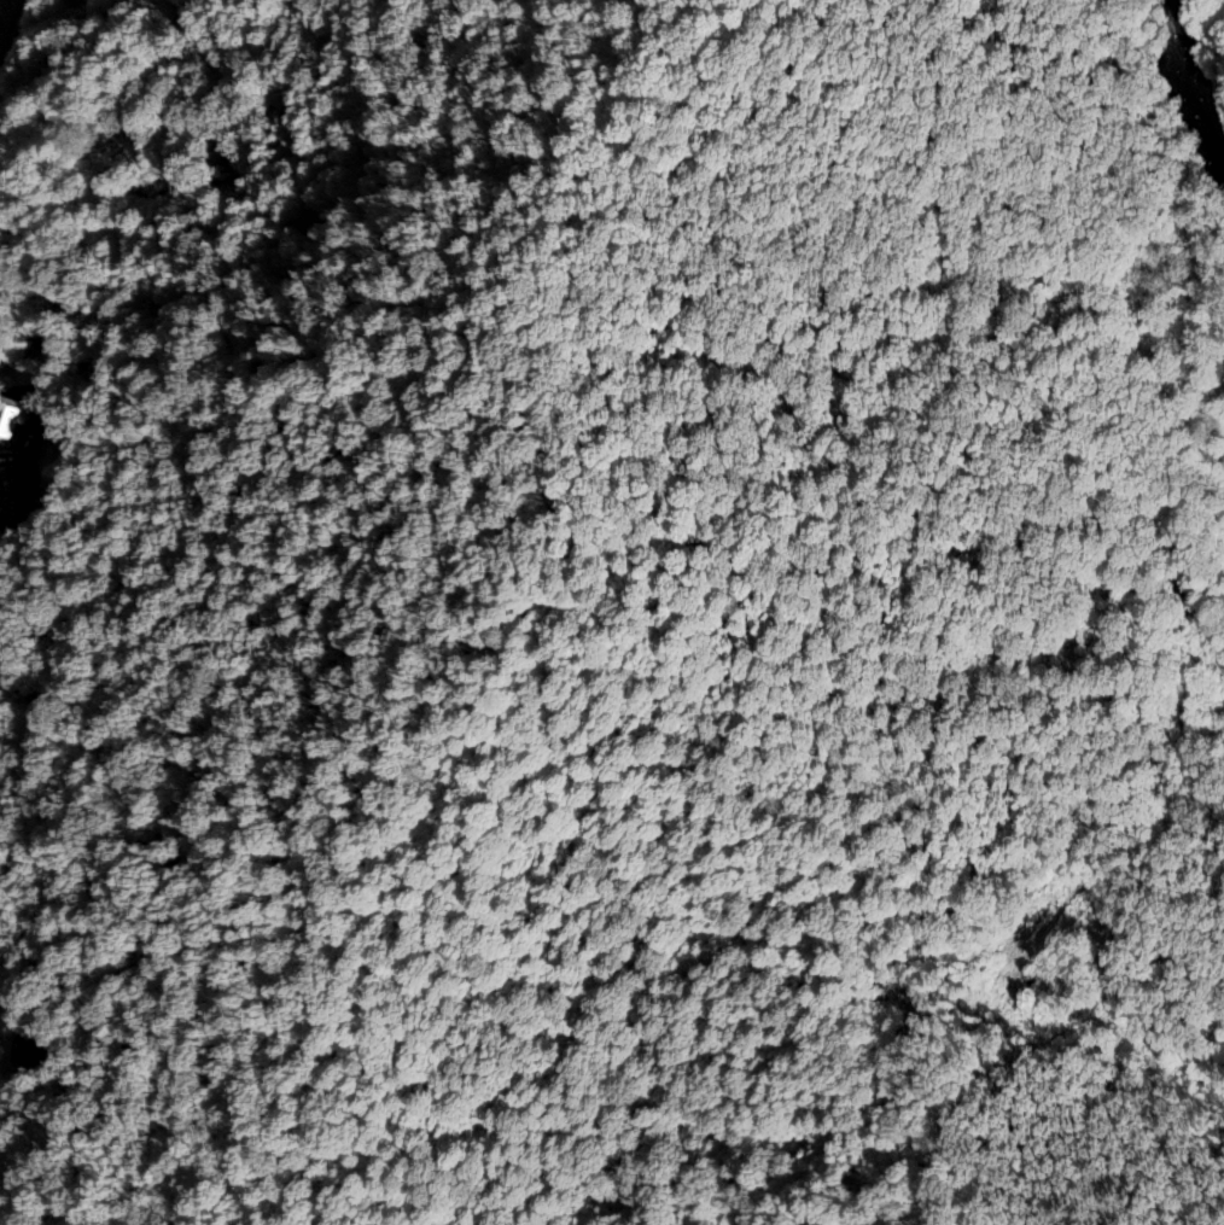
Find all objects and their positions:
river: (1185, 69)
building: (1183, 589)
road: (1205, 641)
building: (28, 1052)
road: (28, 1052)

